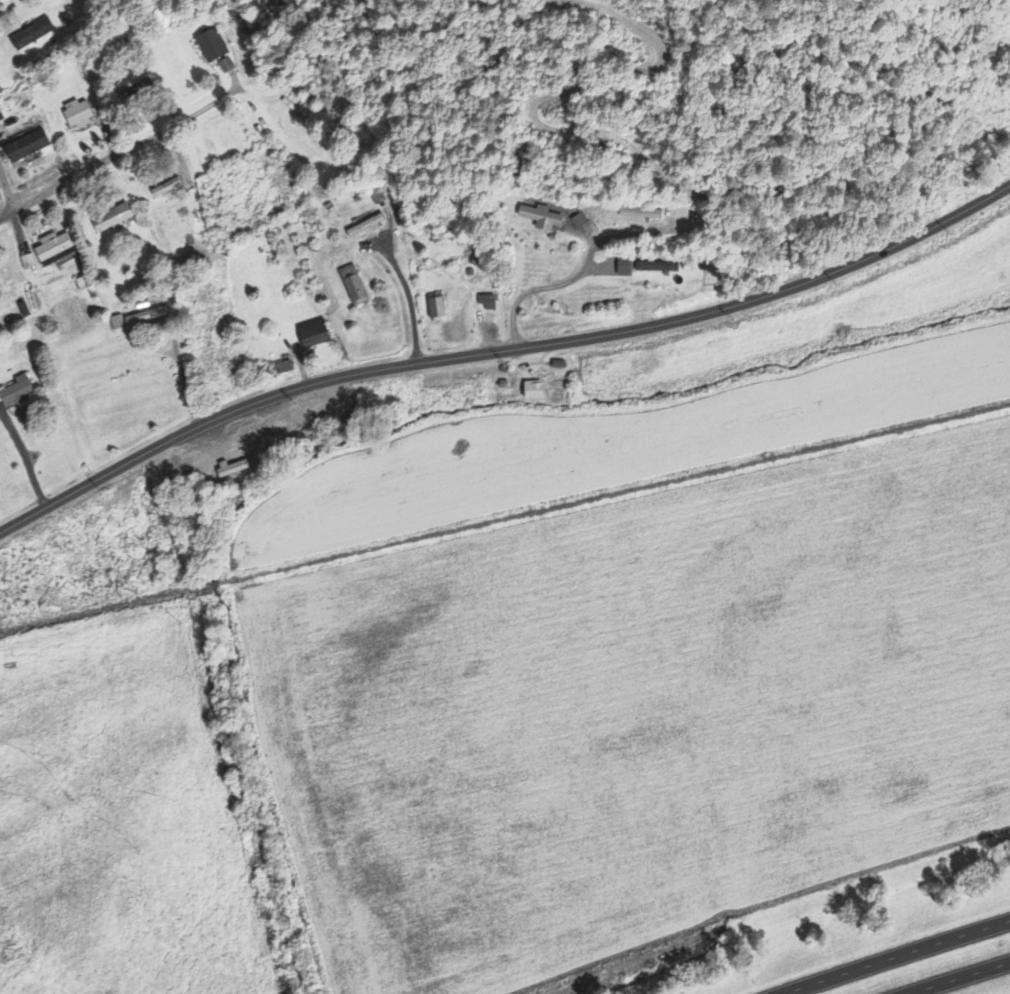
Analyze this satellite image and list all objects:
building: (31, 36)
building: (210, 48)
building: (226, 67)
building: (78, 116)
building: (26, 148)
road: (636, 151)
road: (117, 155)
building: (640, 215)
building: (540, 219)
building: (111, 220)
building: (365, 227)
building: (53, 251)
building: (654, 268)
building: (353, 287)
road: (409, 294)
building: (486, 303)
building: (436, 309)
building: (138, 321)
building: (312, 335)
road: (500, 346)
building: (281, 370)
building: (533, 392)
building: (15, 393)
railway: (617, 491)
railway: (214, 584)
railway: (101, 609)
crop: (640, 705)
road: (898, 957)
road: (957, 978)

